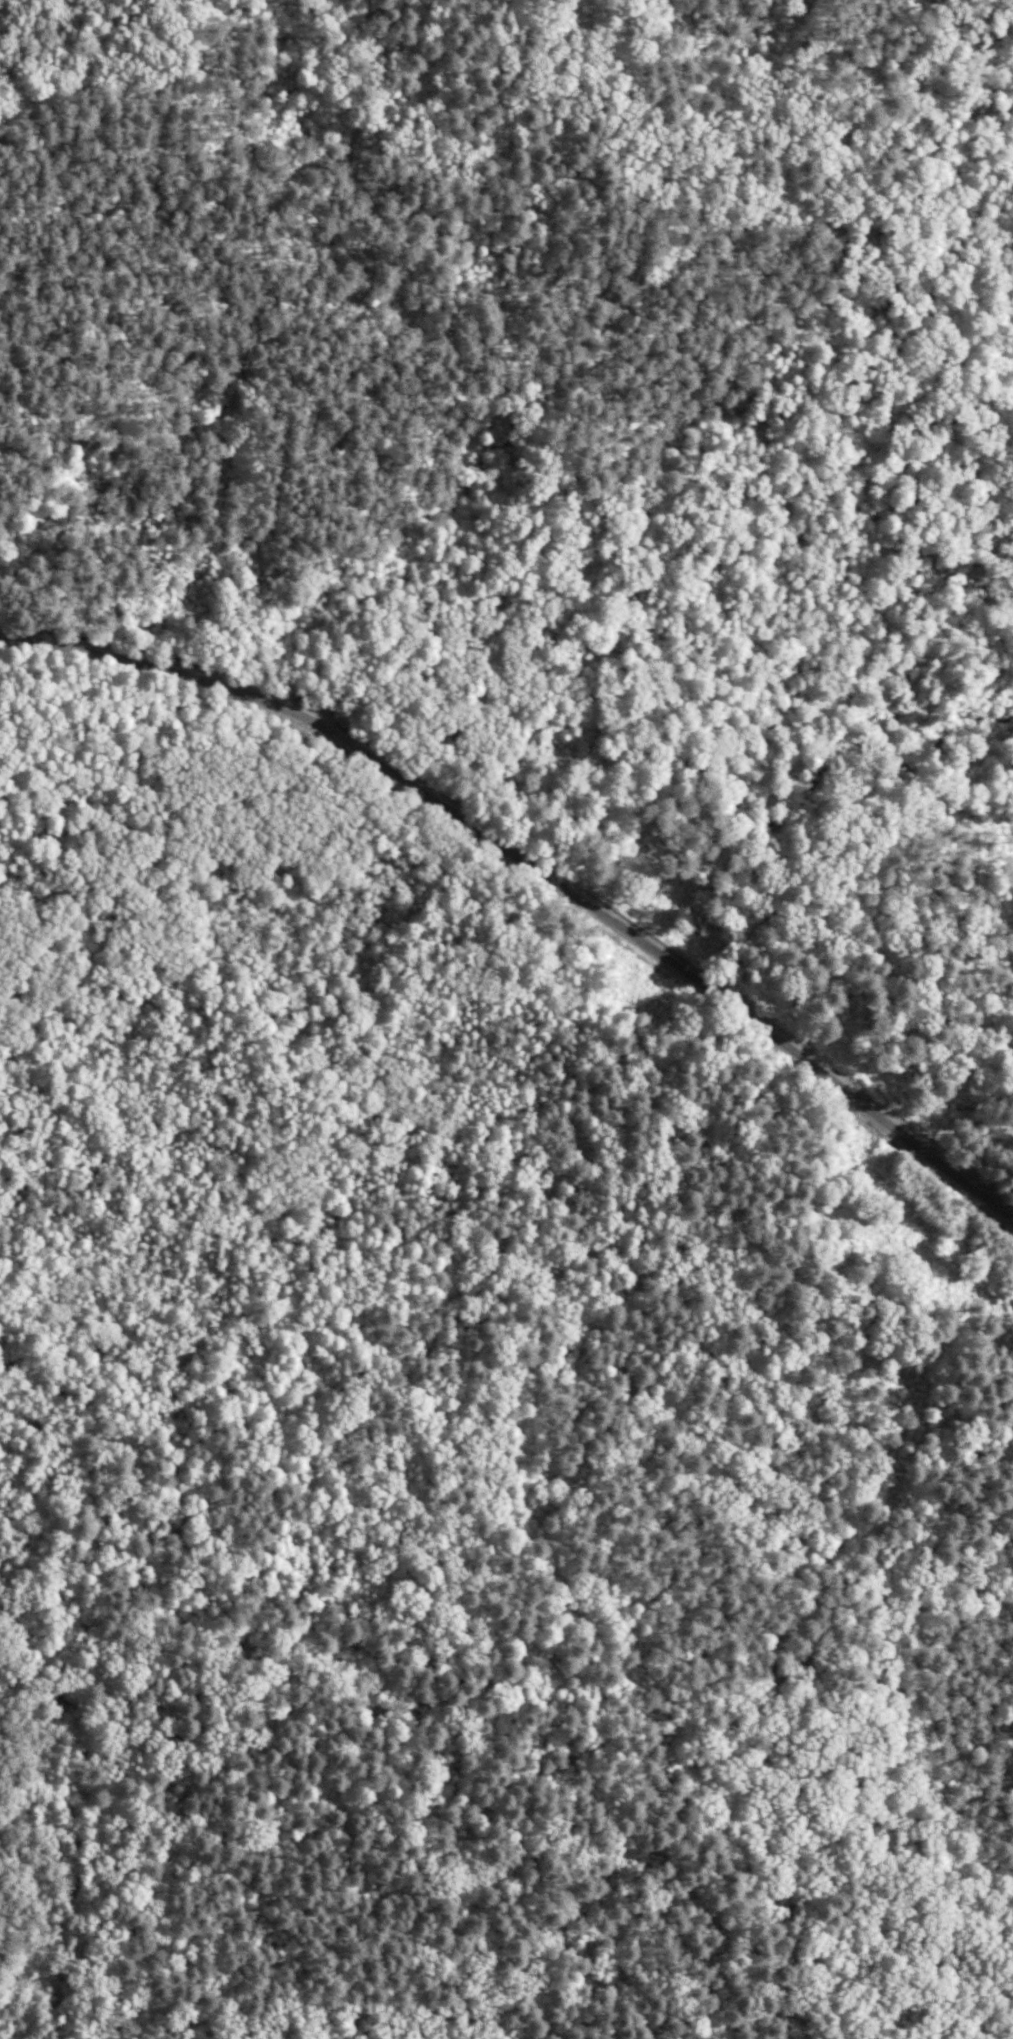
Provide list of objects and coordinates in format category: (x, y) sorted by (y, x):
road: (535, 868)

